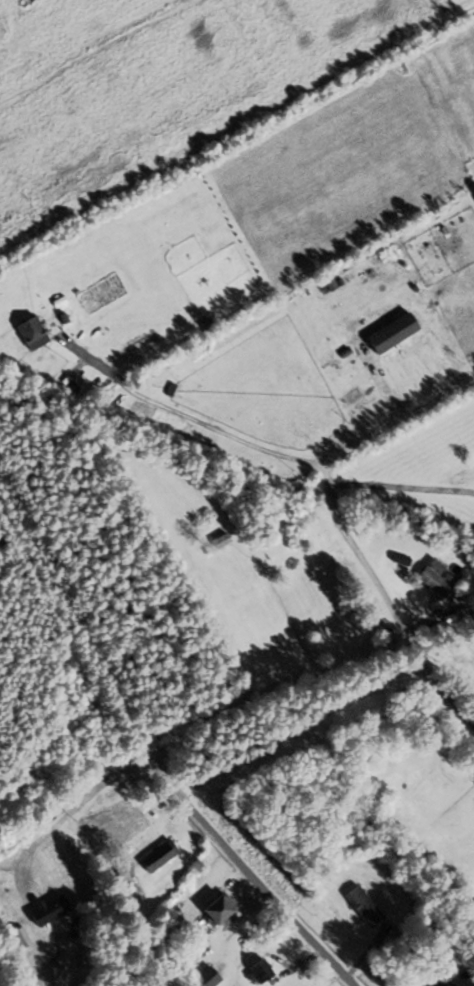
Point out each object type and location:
building: (391, 330)
building: (35, 334)
road: (187, 418)
road: (327, 482)
road: (400, 488)
building: (223, 540)
building: (437, 579)
road: (461, 696)
road: (164, 753)
road: (100, 784)
building: (70, 850)
building: (162, 855)
building: (366, 906)
building: (43, 907)
building: (224, 910)
building: (19, 939)
road: (364, 956)
building: (262, 972)
building: (444, 982)

